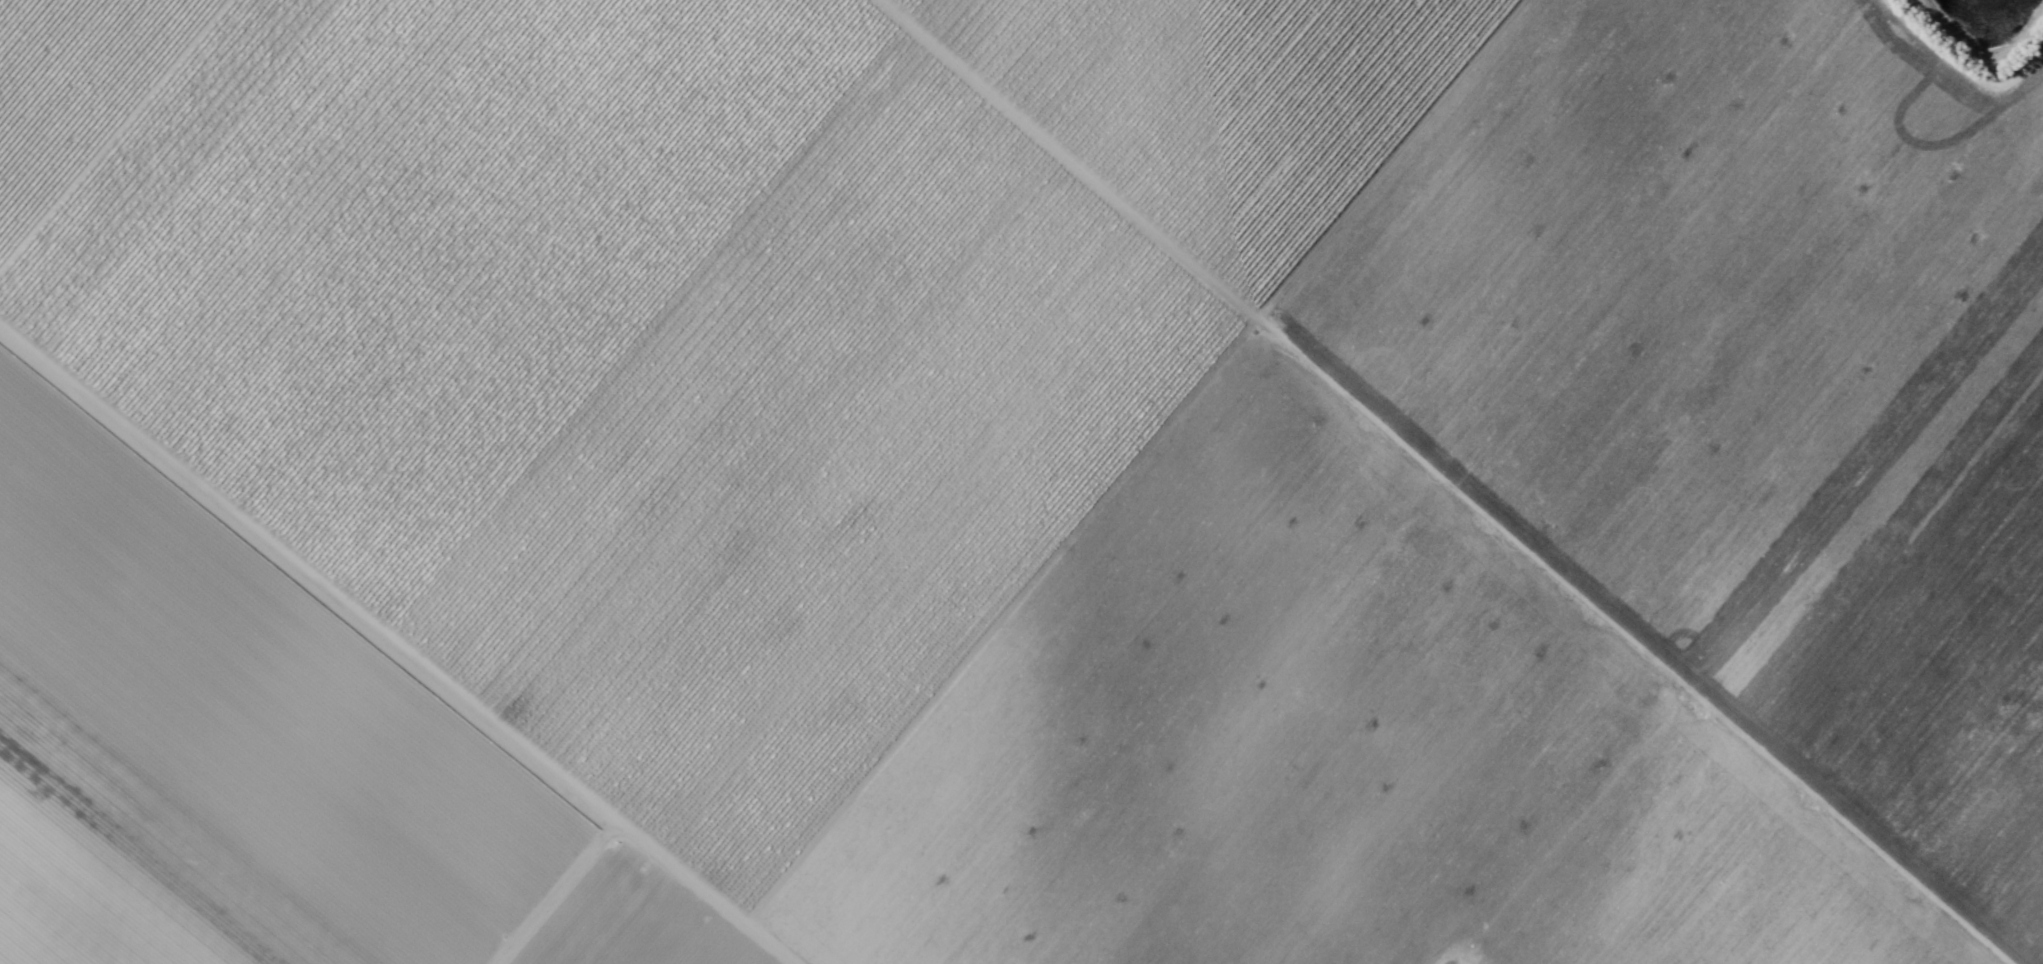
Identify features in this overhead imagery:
wastewater plant: (1995, 13)
road: (113, 134)
crop: (1021, 482)
road: (1447, 482)
road: (398, 646)
road: (550, 890)

